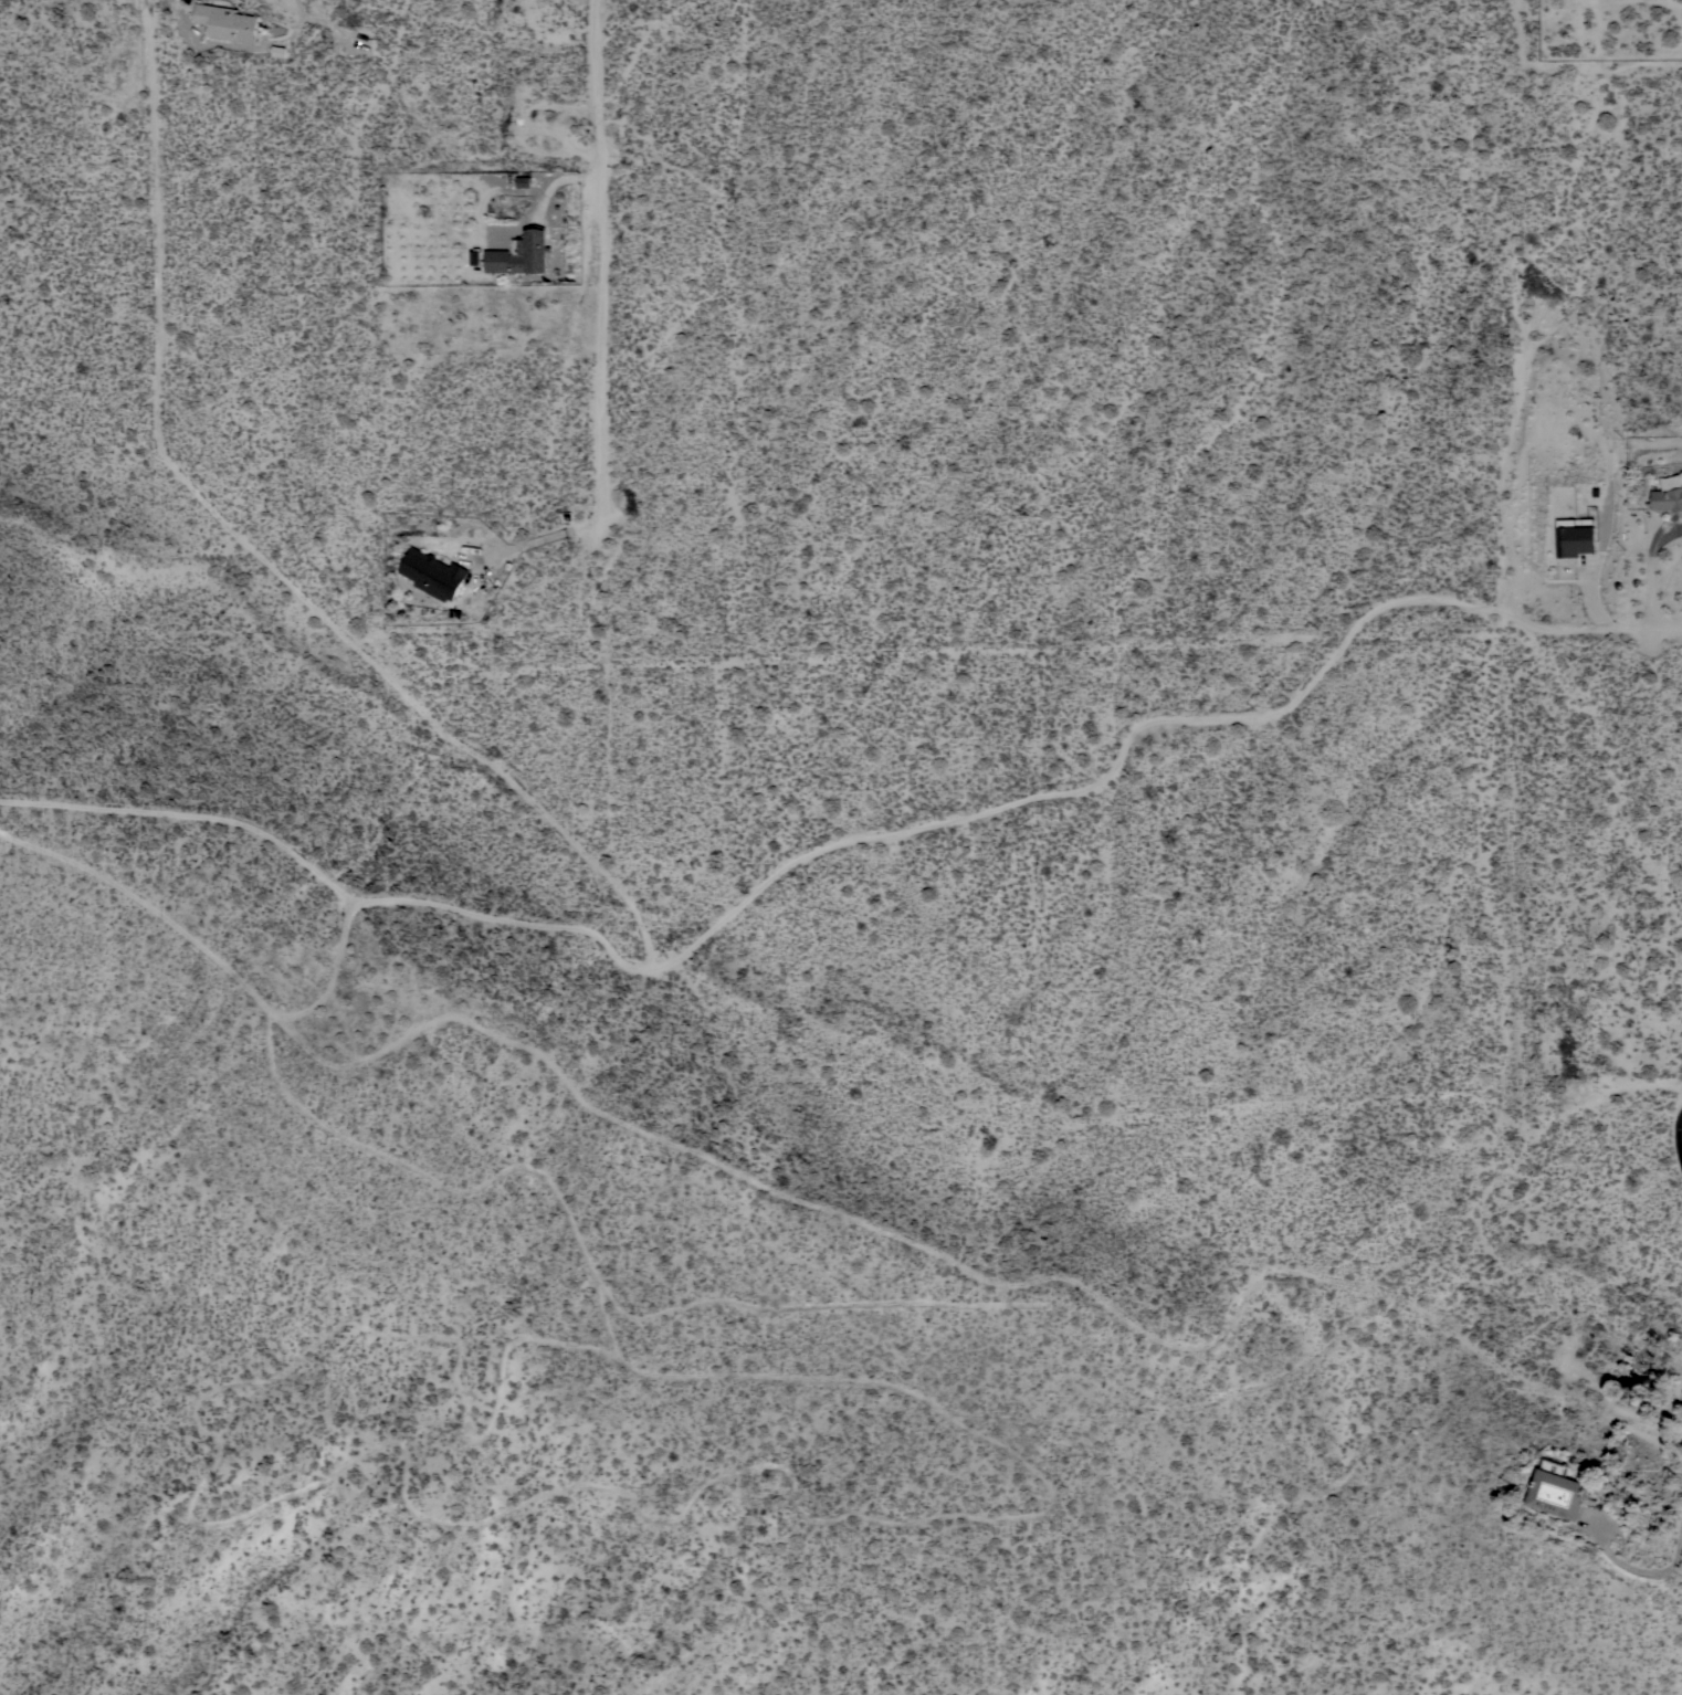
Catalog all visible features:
building: (227, 22)
road: (241, 49)
building: (277, 51)
building: (523, 181)
building: (521, 253)
road: (599, 261)
building: (1669, 494)
road: (585, 527)
building: (1575, 537)
road: (528, 543)
road: (254, 551)
road: (1650, 570)
building: (433, 573)
road: (1037, 652)
road: (1111, 777)
road: (637, 820)
road: (1034, 877)
road: (332, 887)
road: (330, 971)
road: (1399, 1098)
road: (1681, 1130)
road: (826, 1214)
building: (1558, 1491)
road: (1638, 1562)

